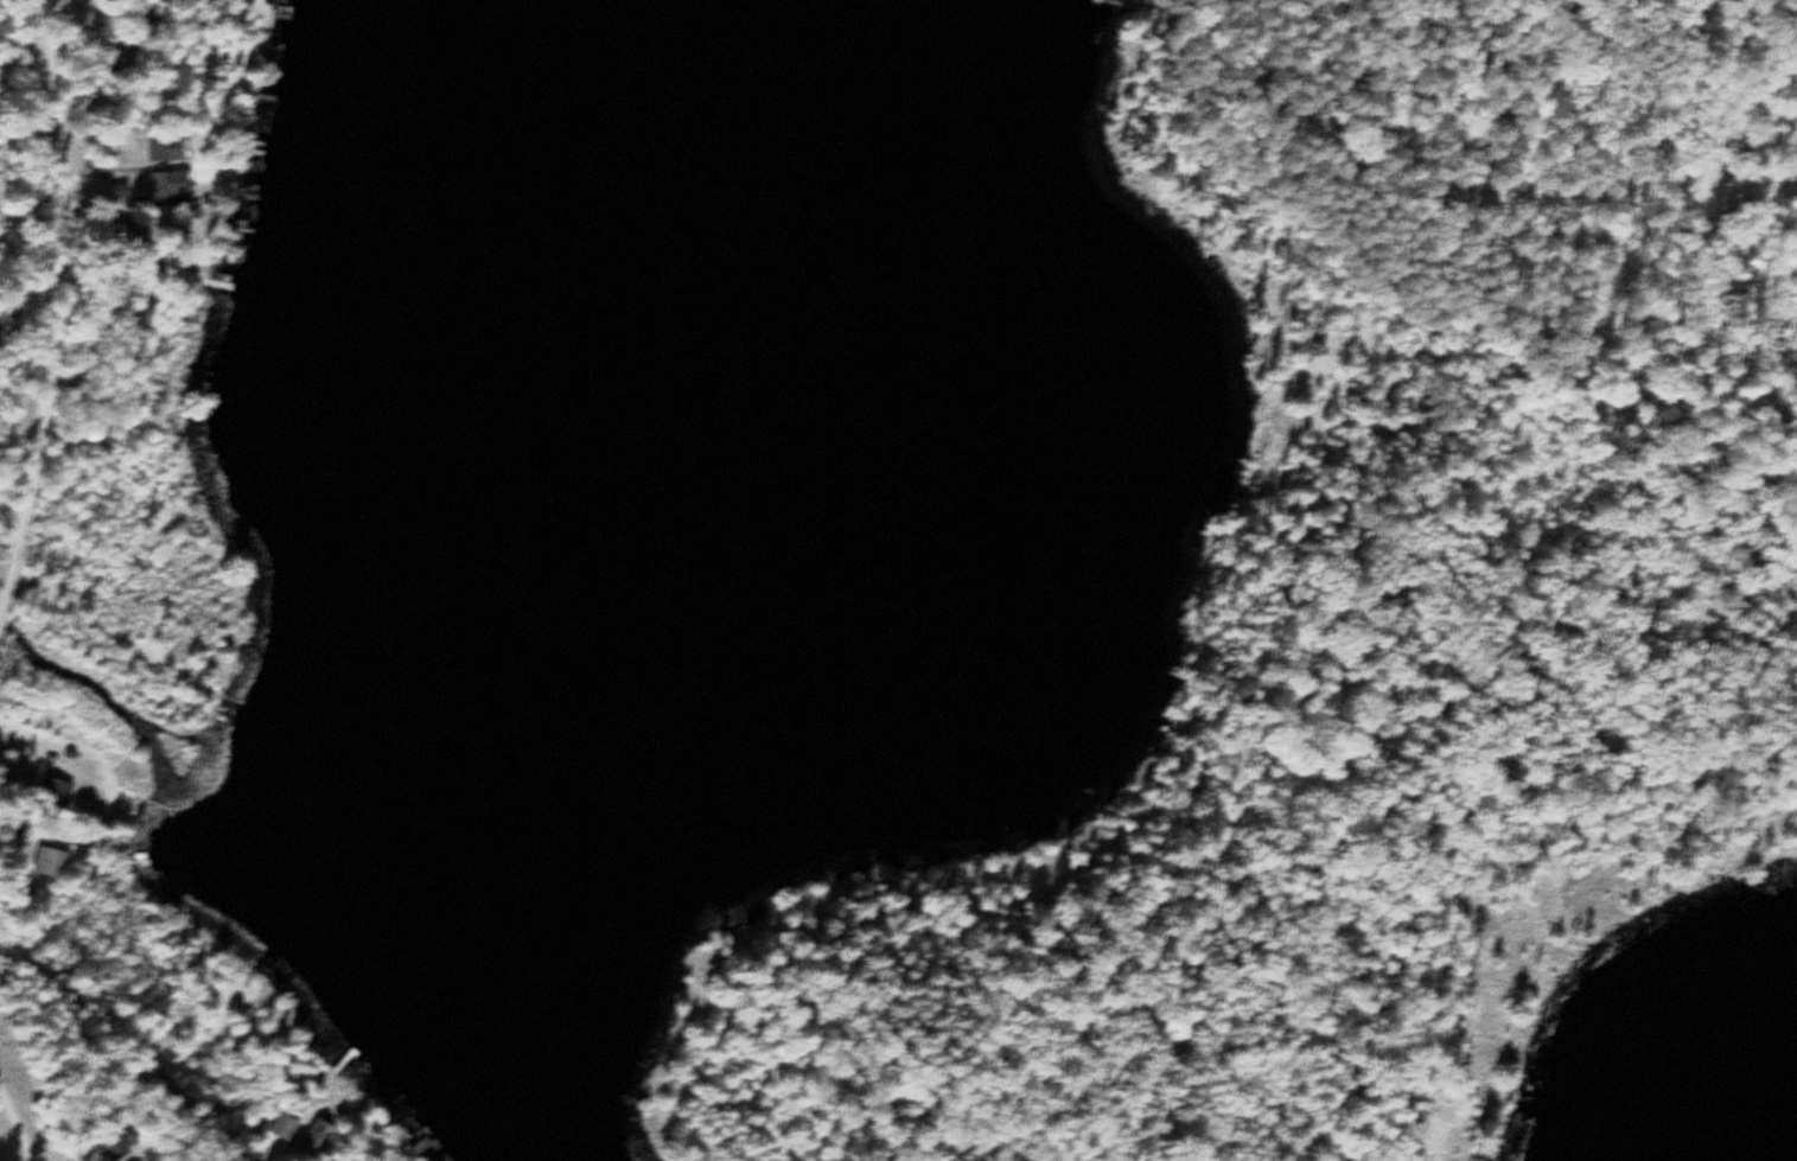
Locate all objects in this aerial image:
building: (128, 56)
building: (171, 149)
building: (168, 184)
road: (1792, 206)
building: (133, 230)
road: (60, 312)
building: (12, 324)
building: (60, 793)
building: (55, 862)
building: (253, 989)
road: (125, 1040)
road: (17, 1123)
building: (288, 1127)
building: (321, 1137)
building: (119, 1149)

